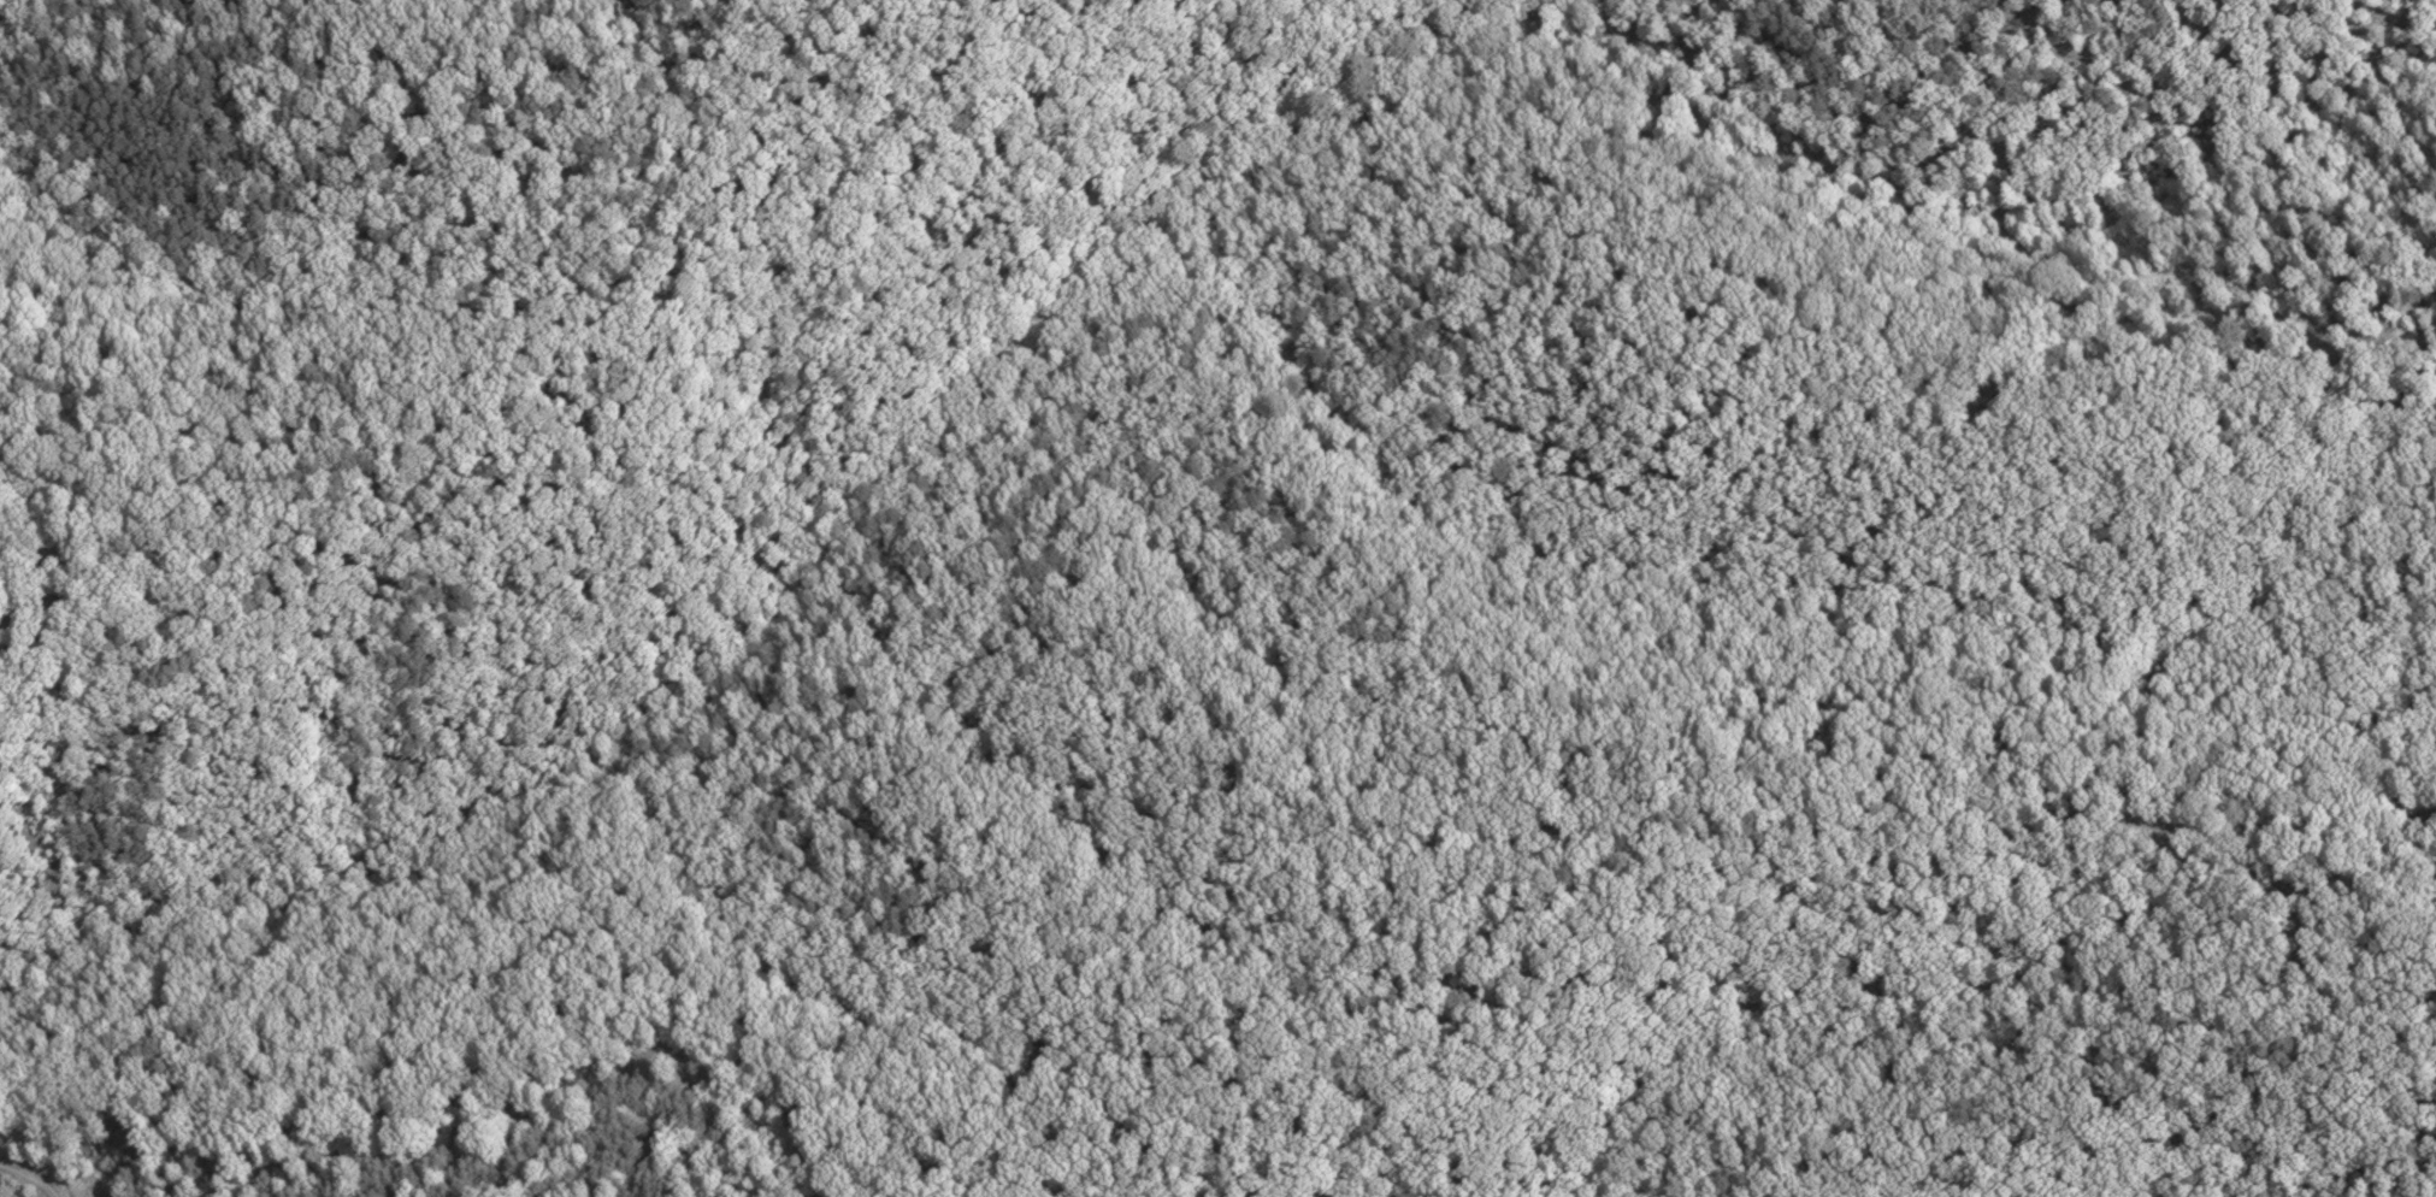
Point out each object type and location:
road: (24, 1179)

